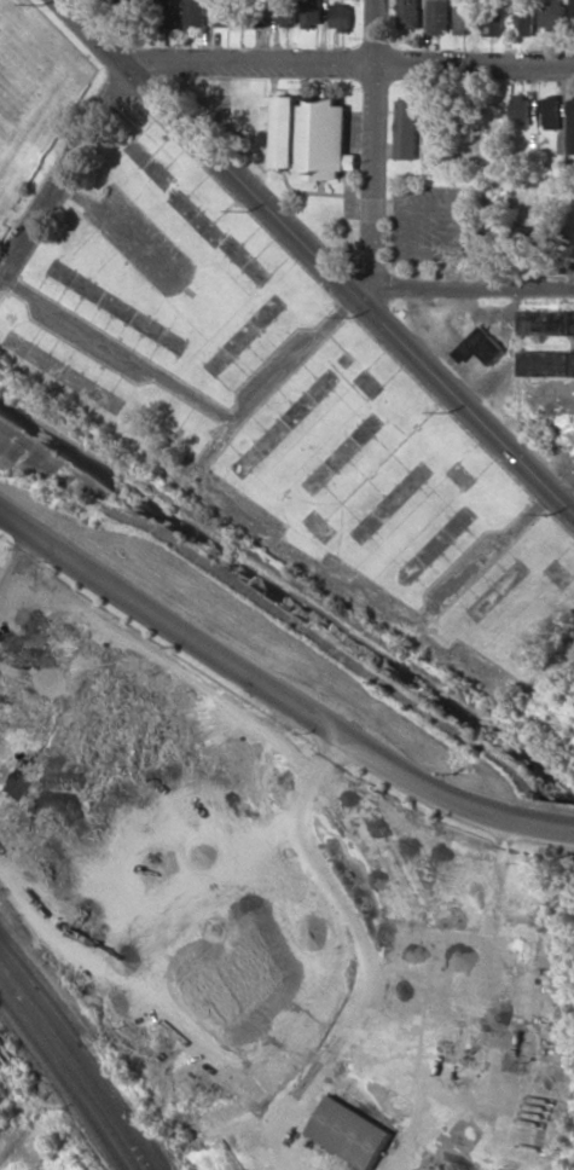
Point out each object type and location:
building: (230, 12)
building: (313, 12)
building: (197, 13)
building: (411, 13)
building: (168, 15)
building: (288, 15)
building: (555, 15)
building: (342, 16)
building: (440, 16)
building: (466, 16)
building: (573, 16)
building: (494, 22)
building: (526, 22)
road: (218, 58)
building: (522, 108)
building: (551, 111)
building: (436, 114)
building: (572, 127)
building: (408, 128)
building: (313, 137)
road: (376, 147)
building: (524, 233)
building: (551, 236)
road: (315, 256)
road: (462, 286)
building: (547, 322)
building: (481, 346)
building: (547, 363)
road: (291, 539)
road: (251, 672)
building: (12, 782)
road: (544, 819)
railway: (70, 1072)
railway: (63, 1081)
building: (352, 1131)
road: (23, 1151)

